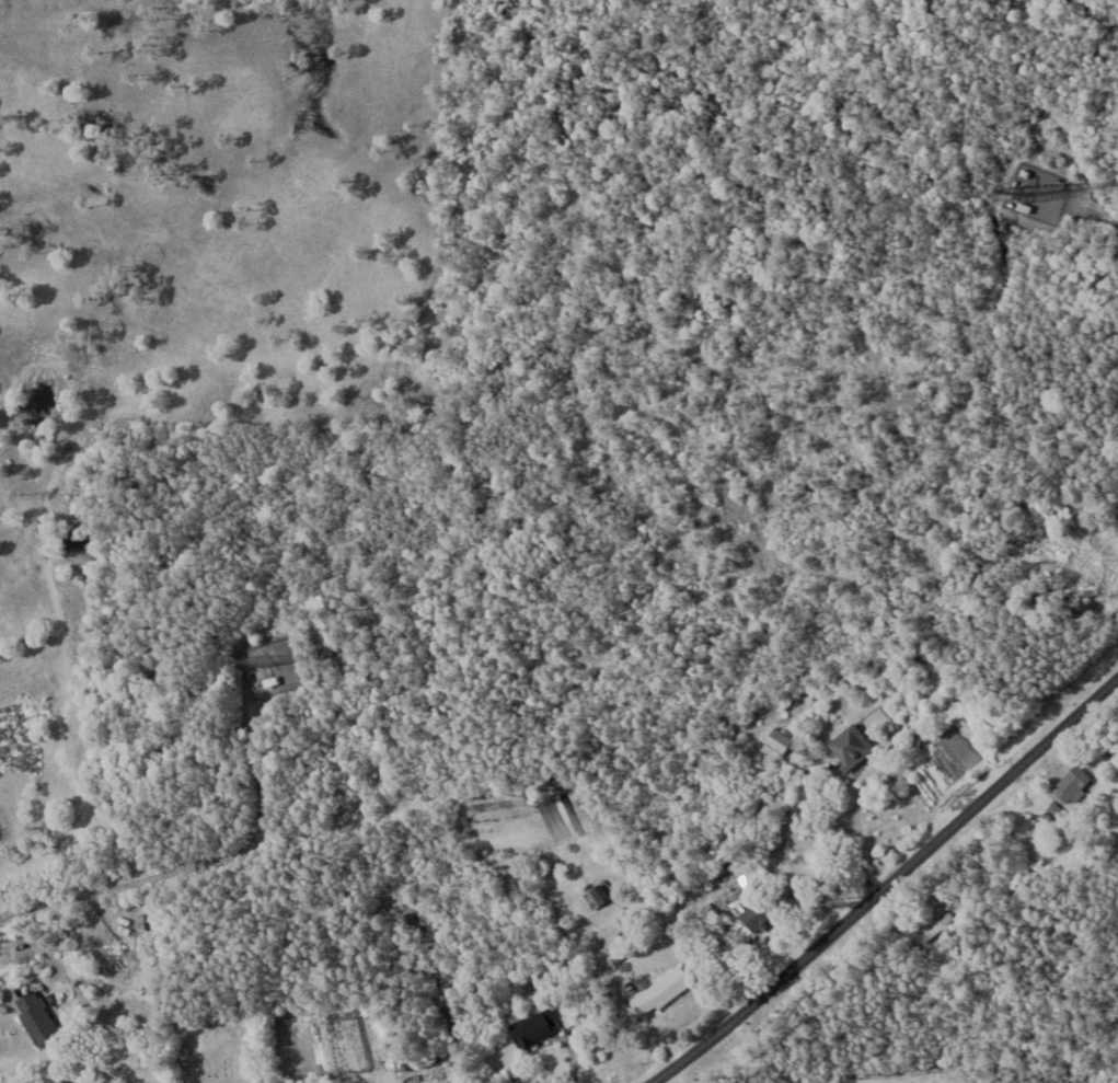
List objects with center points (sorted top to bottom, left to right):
building: (1072, 784)
road: (889, 883)
building: (597, 895)
building: (754, 915)
building: (937, 925)
building: (662, 990)
building: (35, 1016)
building: (533, 1026)
building: (246, 1082)

